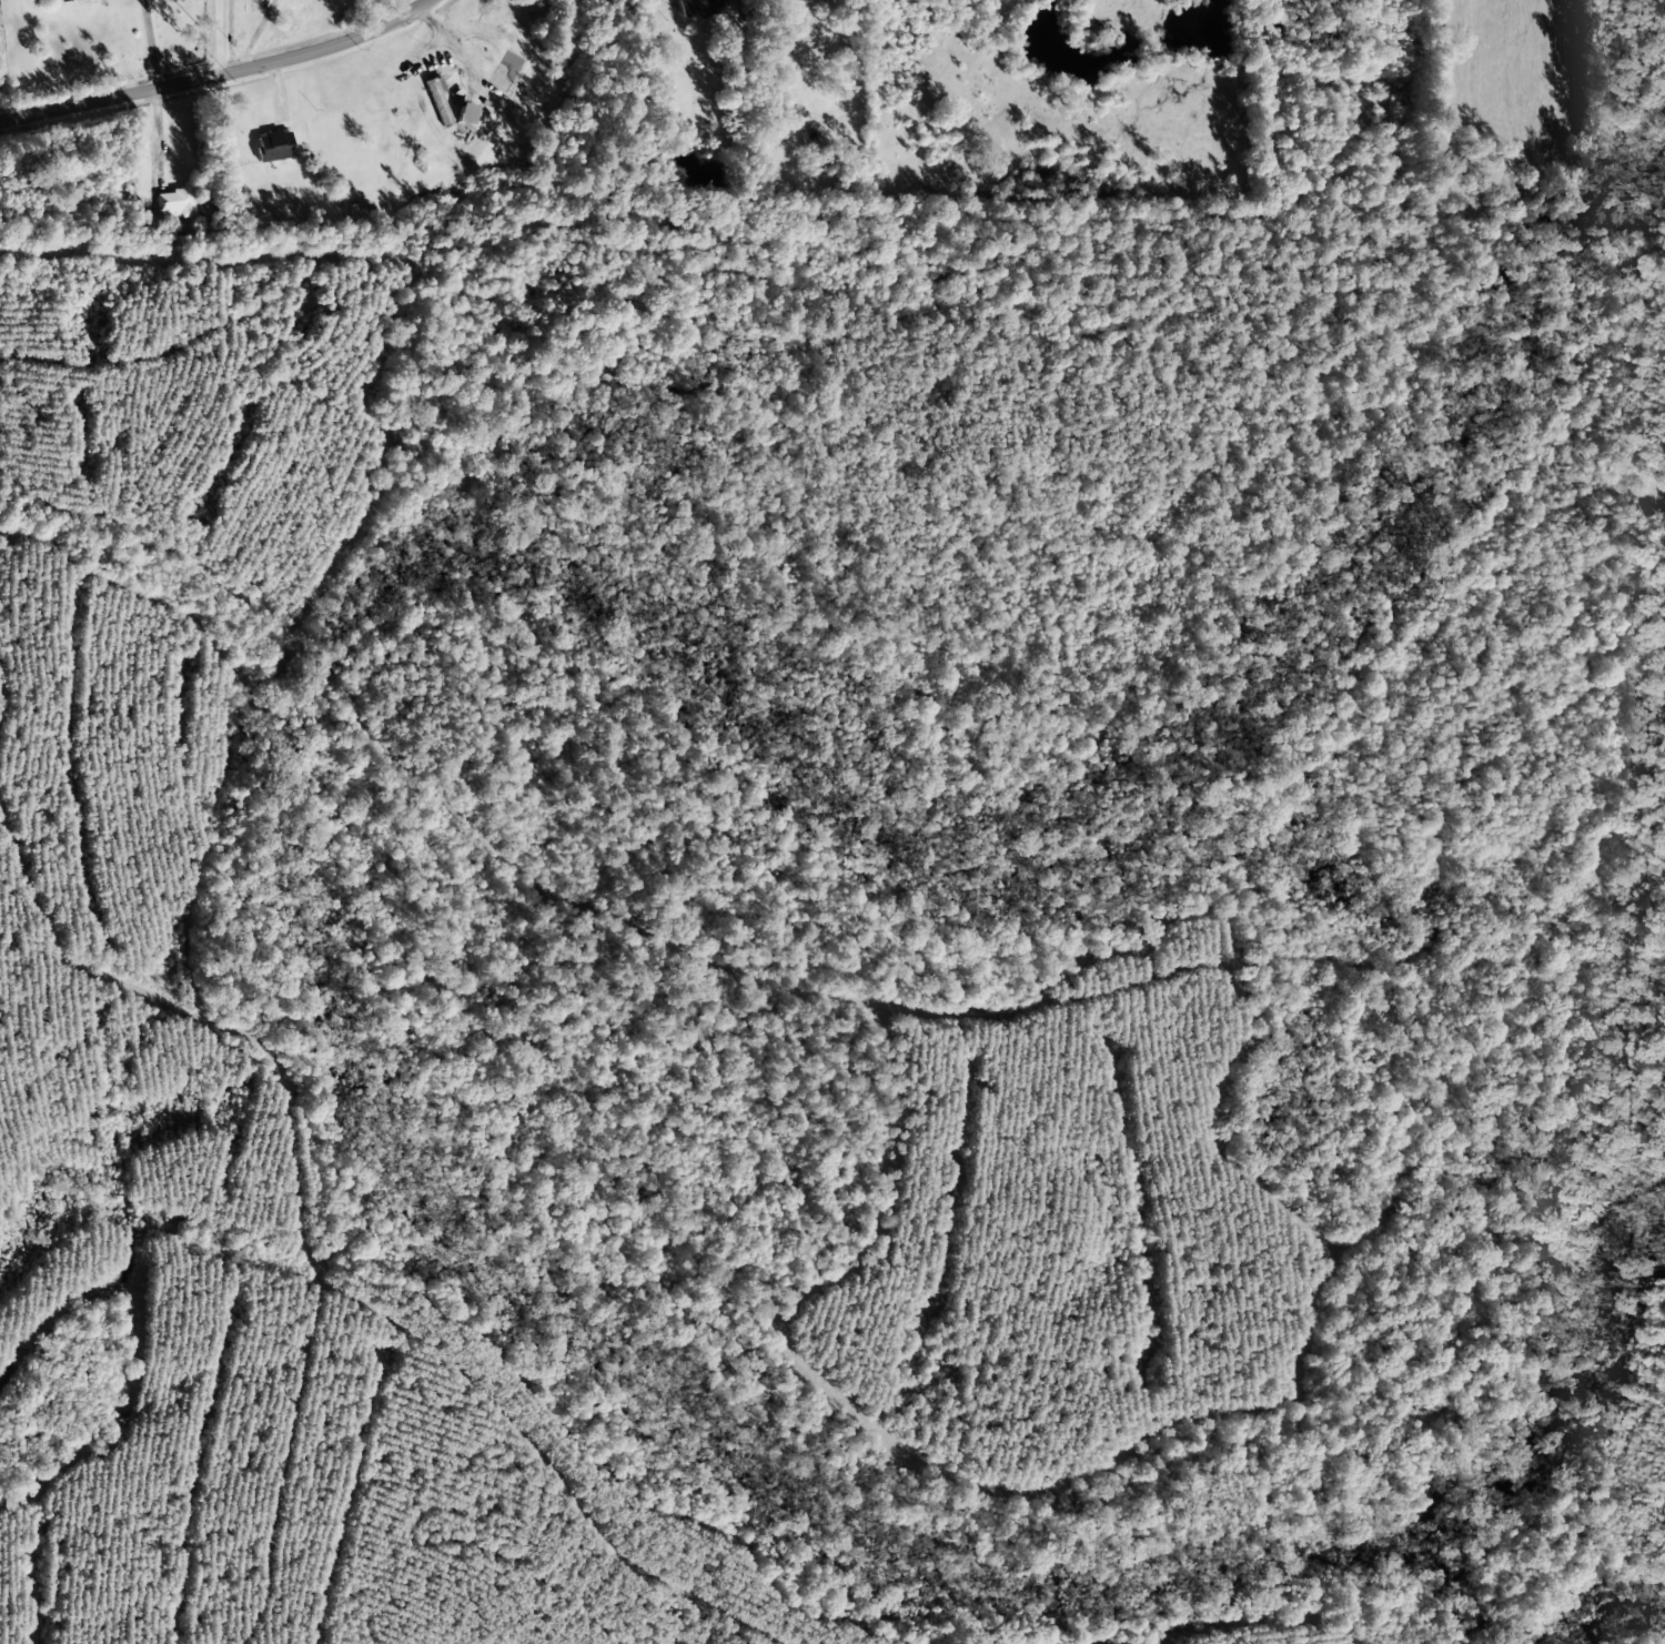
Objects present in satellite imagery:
building: (700, 8)
road: (220, 38)
road: (221, 77)
building: (437, 99)
building: (470, 114)
building: (274, 145)
building: (174, 201)

